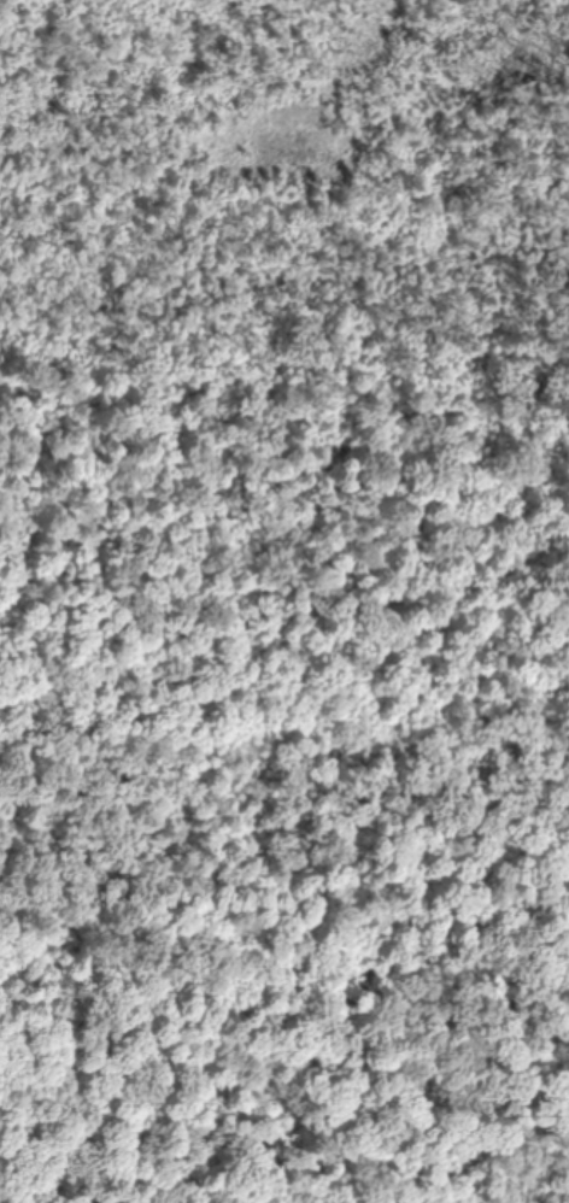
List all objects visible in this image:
road: (284, 304)
park: (284, 601)

